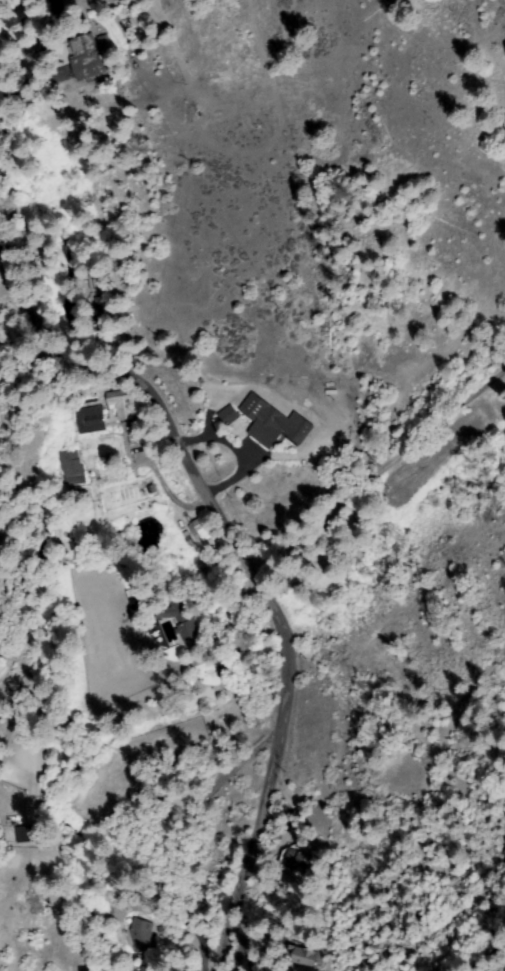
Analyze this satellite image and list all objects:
building: (84, 57)
building: (121, 405)
building: (229, 416)
building: (91, 420)
building: (273, 423)
building: (71, 467)
road: (379, 472)
road: (200, 487)
building: (203, 529)
building: (137, 600)
building: (180, 622)
building: (226, 661)
building: (30, 834)
building: (295, 859)
building: (142, 936)
building: (302, 957)
building: (146, 970)

